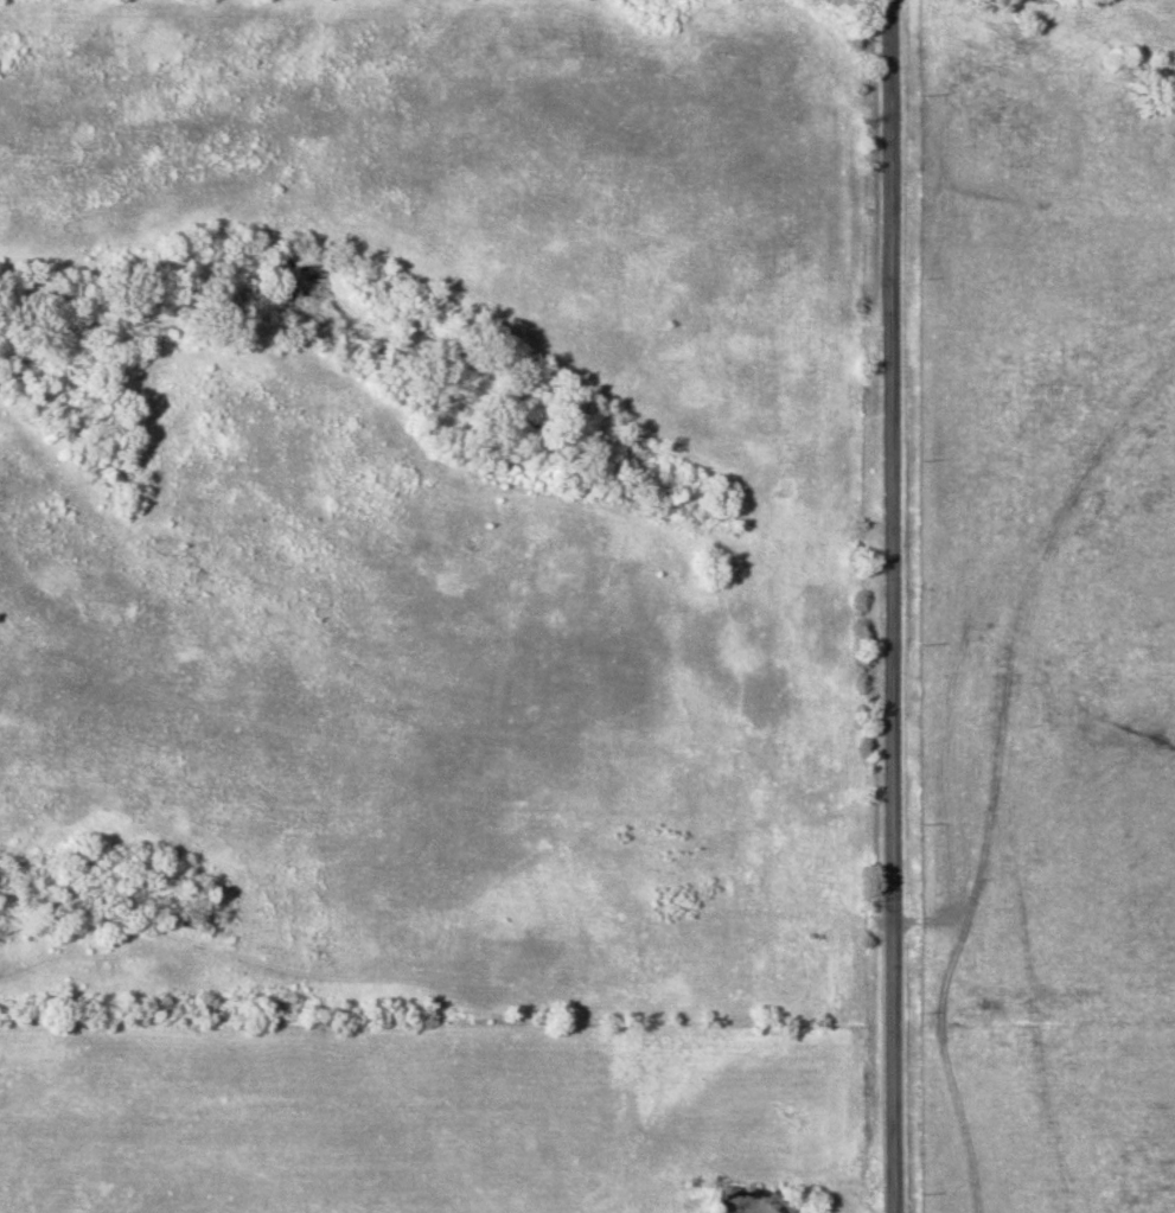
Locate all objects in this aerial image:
road: (892, 606)

